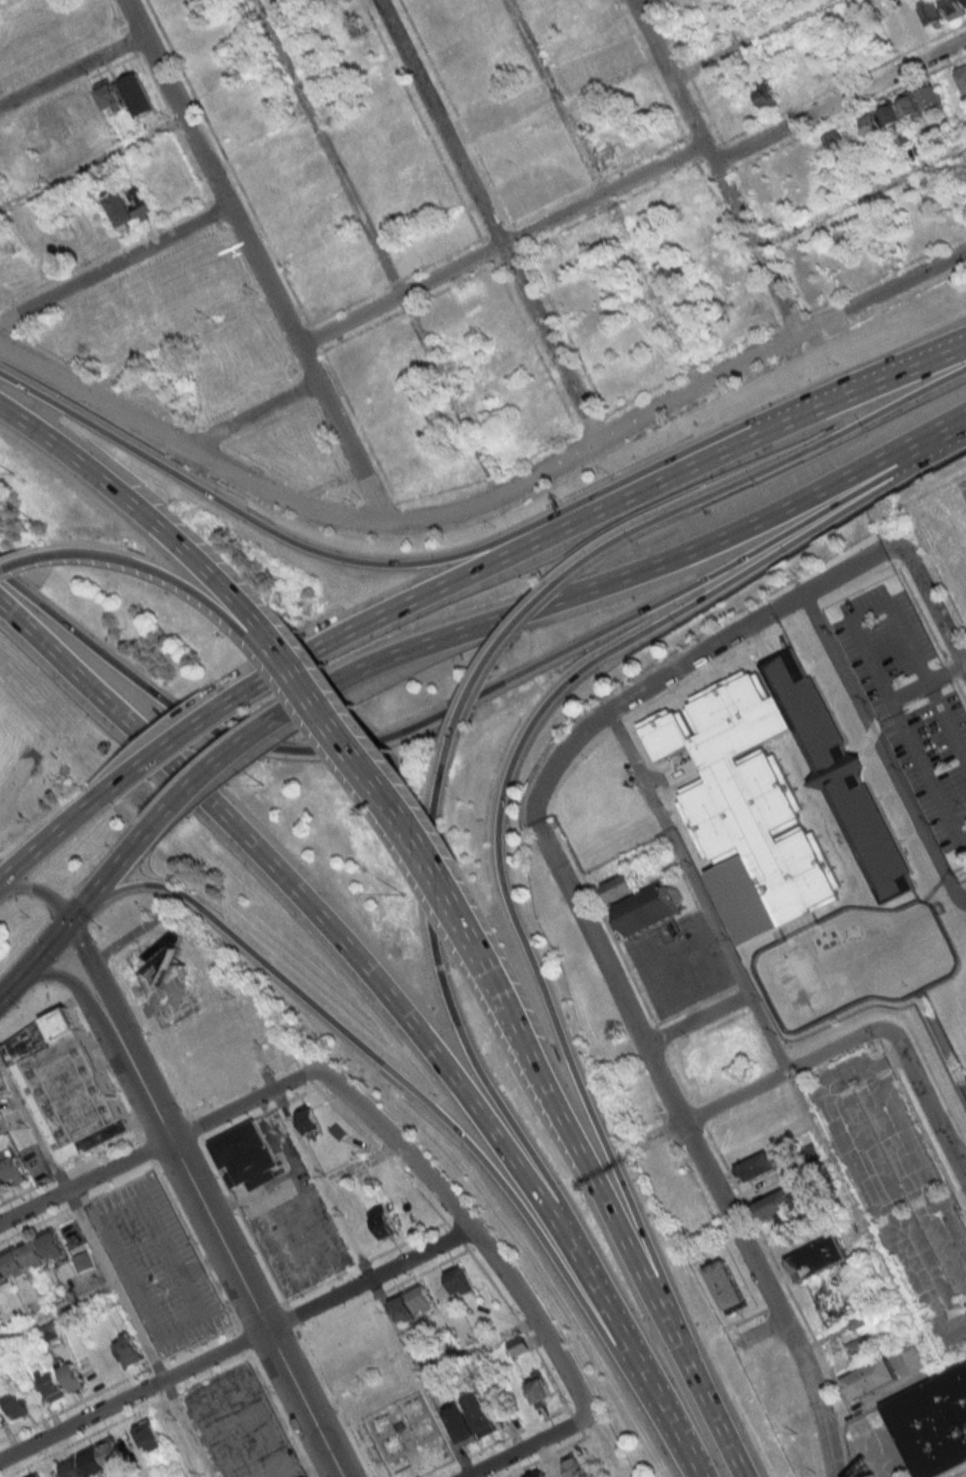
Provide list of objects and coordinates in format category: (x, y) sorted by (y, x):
building: (965, 1)
road: (5, 2)
building: (954, 8)
building: (934, 13)
road: (117, 16)
road: (134, 23)
building: (916, 24)
building: (896, 30)
road: (753, 38)
road: (129, 41)
road: (63, 57)
road: (654, 68)
road: (73, 70)
building: (961, 78)
road: (70, 86)
building: (137, 96)
road: (556, 96)
building: (109, 97)
building: (930, 97)
road: (841, 100)
building: (910, 105)
road: (456, 111)
building: (880, 117)
building: (56, 123)
road: (698, 129)
road: (717, 131)
building: (837, 141)
road: (691, 148)
building: (303, 149)
building: (5, 154)
road: (646, 154)
road: (728, 154)
building: (514, 160)
road: (229, 164)
road: (94, 165)
road: (719, 165)
building: (315, 168)
road: (215, 172)
building: (260, 173)
road: (598, 180)
building: (269, 192)
road: (863, 194)
road: (751, 199)
building: (140, 204)
road: (548, 204)
building: (122, 211)
road: (488, 220)
road: (496, 230)
road: (771, 239)
road: (736, 241)
road: (505, 242)
road: (378, 247)
building: (49, 250)
road: (444, 256)
road: (116, 264)
road: (884, 273)
road: (790, 277)
road: (395, 281)
road: (653, 289)
road: (883, 292)
building: (143, 297)
road: (349, 304)
road: (791, 317)
building: (162, 331)
road: (315, 337)
road: (740, 342)
road: (182, 343)
road: (312, 361)
road: (693, 365)
road: (308, 370)
road: (859, 387)
road: (644, 394)
road: (253, 413)
road: (591, 423)
road: (359, 424)
road: (196, 428)
road: (598, 441)
road: (187, 448)
road: (353, 450)
road: (541, 451)
road: (934, 451)
road: (769, 467)
road: (493, 475)
road: (328, 483)
road: (316, 489)
road: (440, 490)
road: (346, 497)
road: (381, 502)
road: (146, 514)
road: (534, 541)
road: (366, 562)
road: (11, 564)
road: (157, 573)
road: (625, 576)
road: (930, 600)
road: (501, 645)
road: (276, 648)
road: (685, 663)
road: (964, 665)
road: (964, 668)
road: (926, 682)
road: (448, 706)
road: (198, 725)
road: (882, 749)
road: (669, 778)
road: (204, 780)
road: (502, 786)
building: (772, 796)
road: (392, 801)
road: (44, 847)
road: (113, 876)
road: (43, 890)
building: (625, 890)
road: (699, 891)
building: (652, 911)
road: (81, 913)
traffic signals: (74, 921)
road: (127, 936)
road: (47, 950)
road: (95, 964)
road: (119, 976)
road: (67, 978)
road: (440, 986)
road: (10, 989)
road: (394, 1004)
road: (147, 1009)
road: (136, 1013)
road: (700, 1018)
road: (34, 1023)
road: (117, 1033)
road: (877, 1033)
road: (883, 1045)
road: (890, 1058)
road: (285, 1061)
road: (295, 1062)
road: (166, 1070)
road: (104, 1071)
road: (263, 1071)
road: (788, 1071)
road: (302, 1073)
road: (934, 1077)
building: (2, 1084)
building: (65, 1086)
road: (409, 1088)
road: (219, 1093)
road: (150, 1098)
road: (931, 1098)
road: (243, 1103)
road: (256, 1114)
road: (161, 1122)
building: (308, 1123)
road: (195, 1125)
road: (925, 1128)
building: (337, 1131)
building: (1, 1132)
road: (700, 1147)
road: (145, 1150)
road: (381, 1152)
road: (579, 1152)
road: (177, 1153)
building: (247, 1157)
road: (362, 1165)
building: (12, 1166)
road: (151, 1167)
building: (760, 1167)
road: (71, 1168)
road: (873, 1176)
road: (124, 1179)
road: (84, 1181)
building: (3, 1182)
road: (960, 1198)
building: (782, 1208)
road: (965, 1208)
road: (52, 1215)
road: (243, 1221)
road: (84, 1222)
building: (382, 1222)
road: (457, 1236)
street lamp: (141, 1239)
road: (406, 1241)
building: (52, 1244)
road: (194, 1245)
building: (32, 1254)
building: (821, 1258)
road: (494, 1260)
building: (83, 1261)
road: (360, 1262)
building: (14, 1263)
parking lot: (157, 1266)
road: (427, 1269)
building: (3, 1275)
building: (459, 1281)
road: (319, 1283)
road: (373, 1283)
building: (729, 1289)
street lamp: (165, 1291)
road: (379, 1292)
road: (281, 1301)
building: (423, 1301)
road: (317, 1304)
road: (255, 1308)
road: (666, 1308)
road: (57, 1312)
road: (259, 1312)
building: (406, 1313)
road: (292, 1315)
road: (333, 1315)
road: (520, 1327)
building: (52, 1333)
road: (241, 1340)
road: (274, 1343)
building: (517, 1345)
building: (128, 1347)
building: (864, 1347)
road: (249, 1353)
building: (915, 1358)
road: (211, 1374)
building: (72, 1377)
building: (871, 1379)
road: (120, 1381)
building: (52, 1382)
building: (539, 1391)
road: (170, 1394)
road: (877, 1399)
road: (335, 1400)
building: (17, 1403)
road: (705, 1408)
road: (277, 1412)
road: (81, 1418)
building: (471, 1419)
road: (575, 1421)
building: (934, 1426)
parking lot: (241, 1428)
road: (517, 1430)
road: (191, 1431)
road: (582, 1432)
building: (149, 1436)
road: (83, 1437)
road: (529, 1445)
road: (552, 1451)
road: (462, 1458)
building: (92, 1459)
road: (441, 1469)
building: (565, 1469)
building: (37, 1475)

